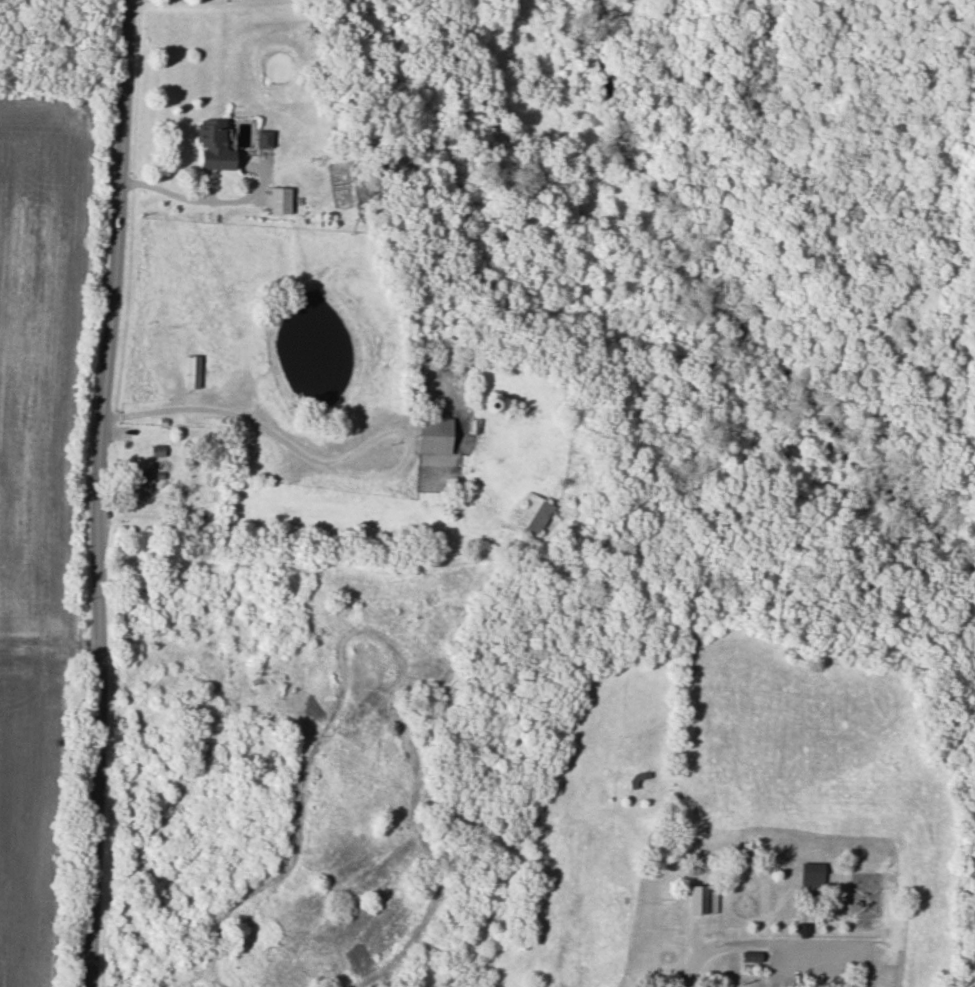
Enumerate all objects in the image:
park: (63, 37)
building: (262, 138)
building: (213, 144)
park: (807, 189)
road: (191, 198)
building: (277, 200)
building: (191, 371)
building: (432, 434)
road: (311, 459)
building: (139, 482)
road: (96, 492)
crop: (35, 495)
building: (530, 512)
park: (490, 559)
road: (404, 562)
road: (819, 567)
road: (565, 633)
road: (572, 717)
road: (780, 862)
building: (811, 872)
building: (696, 898)
road: (805, 914)
road: (715, 949)
road: (804, 950)
road: (823, 960)
road: (692, 970)
road: (368, 972)
road: (203, 978)
road: (389, 978)

